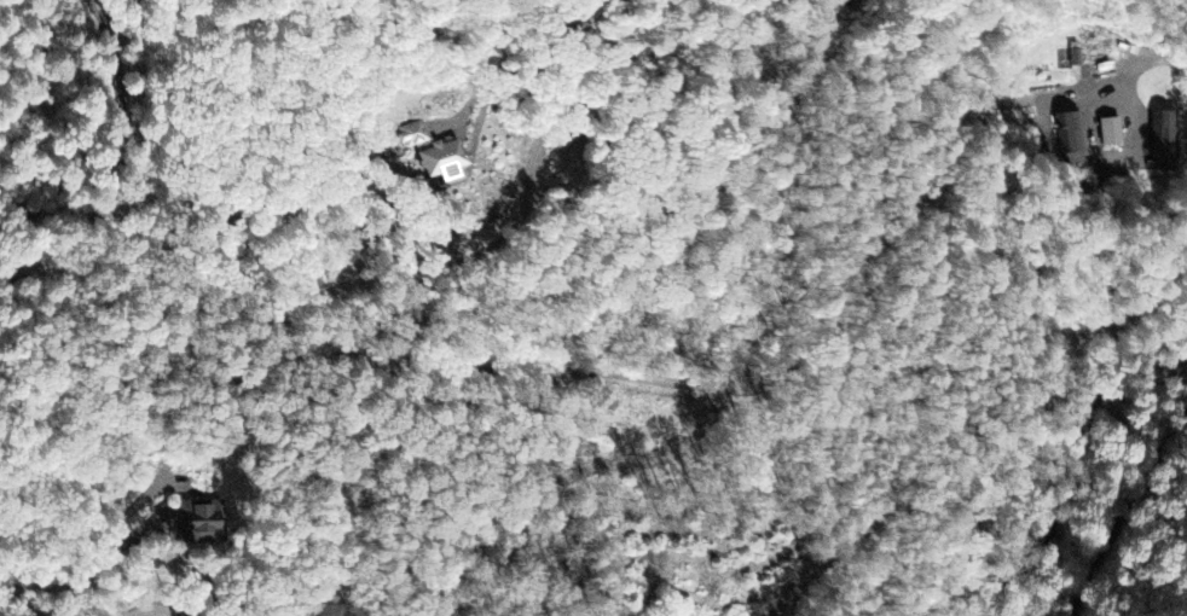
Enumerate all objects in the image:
building: (1075, 54)
building: (1110, 130)
building: (1072, 133)
road: (115, 165)
road: (1125, 511)
building: (199, 521)
road: (13, 597)
road: (154, 609)

